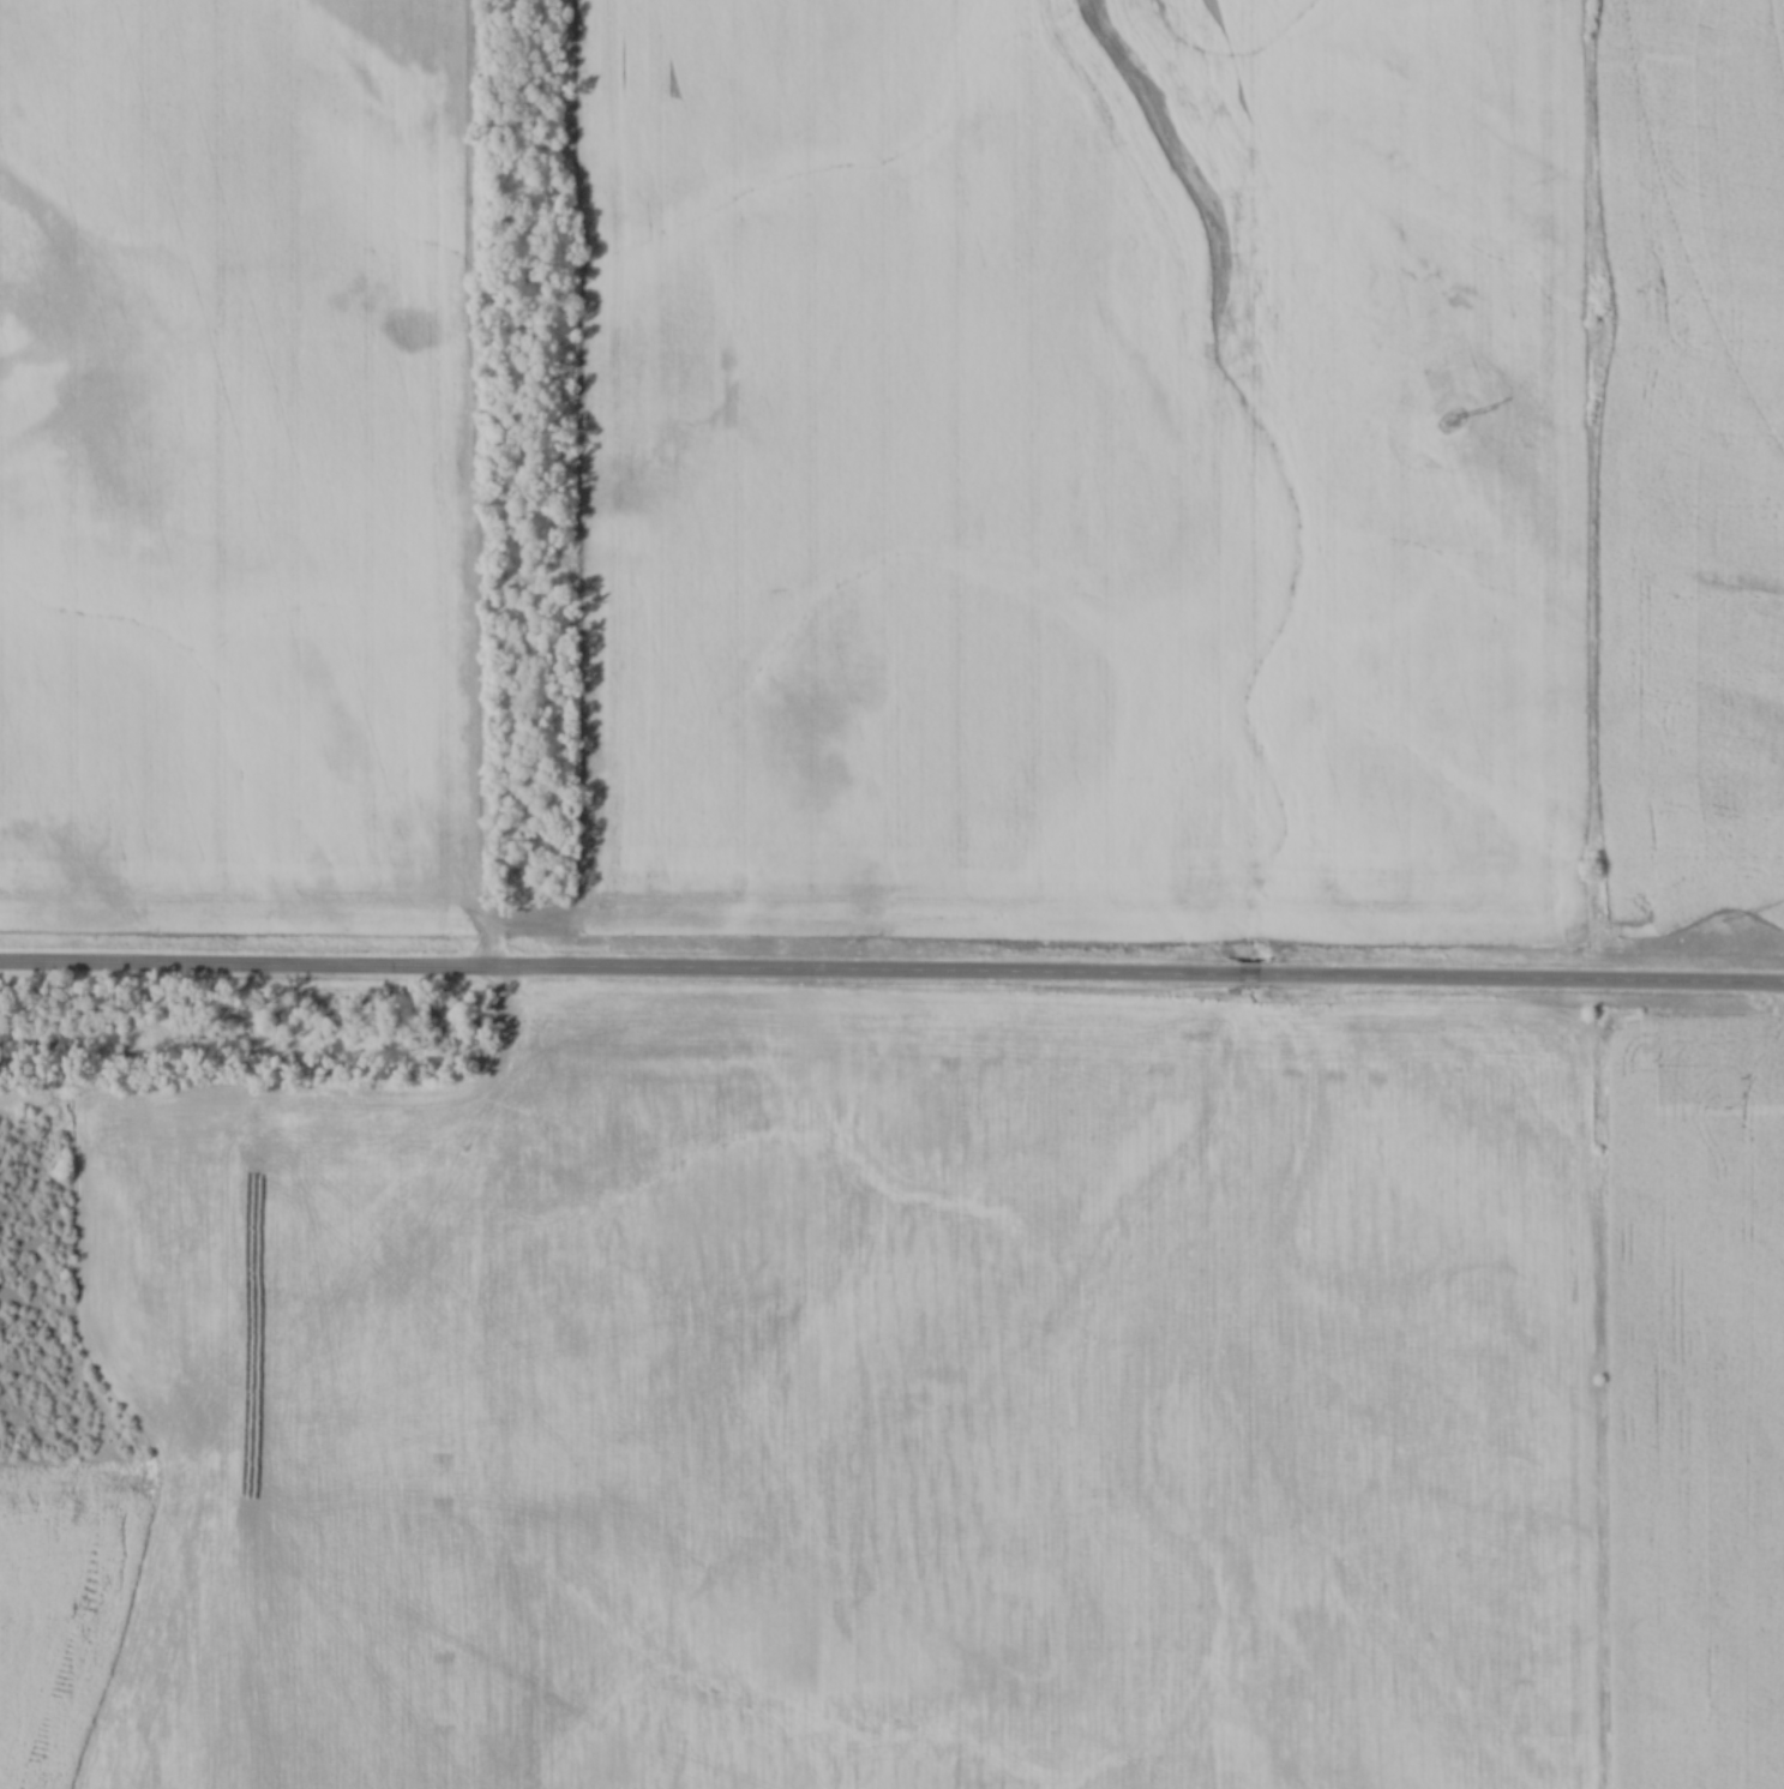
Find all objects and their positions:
power tower: (1452, 420)
power tower: (1728, 913)
road: (891, 980)

